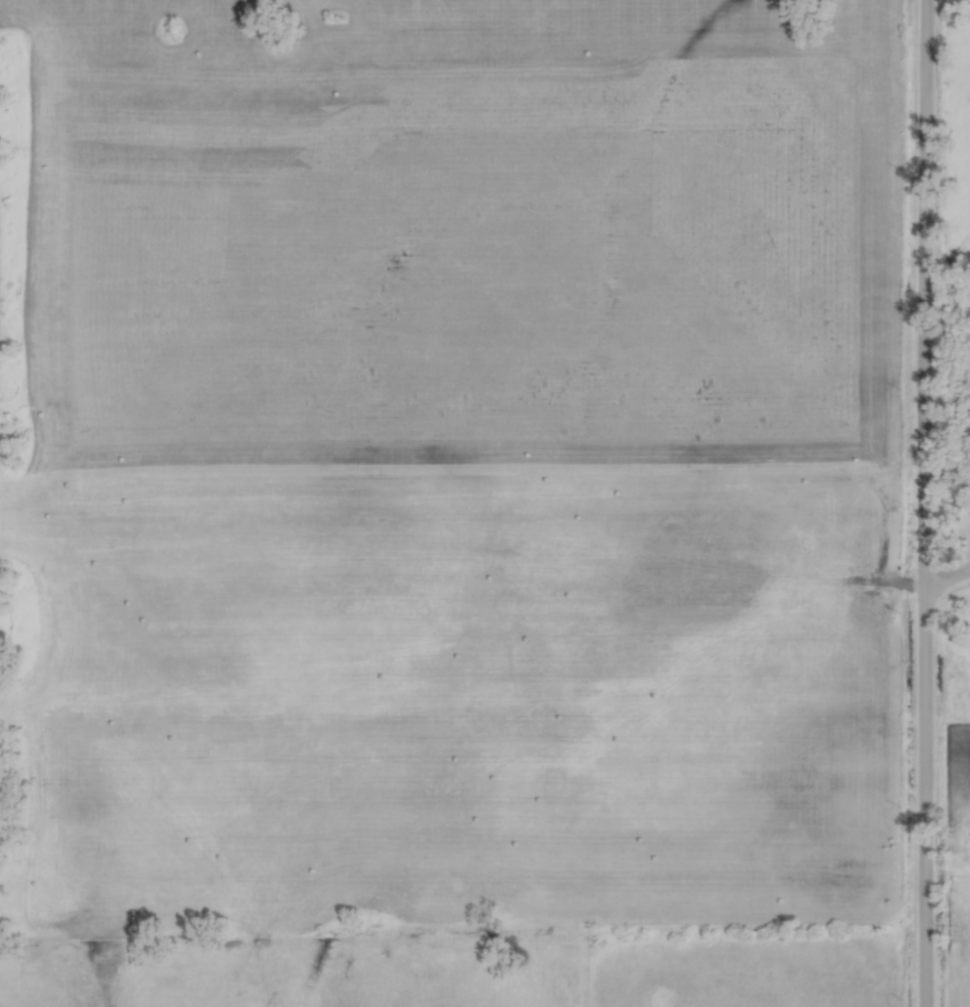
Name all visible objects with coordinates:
road: (924, 503)
road: (947, 585)

